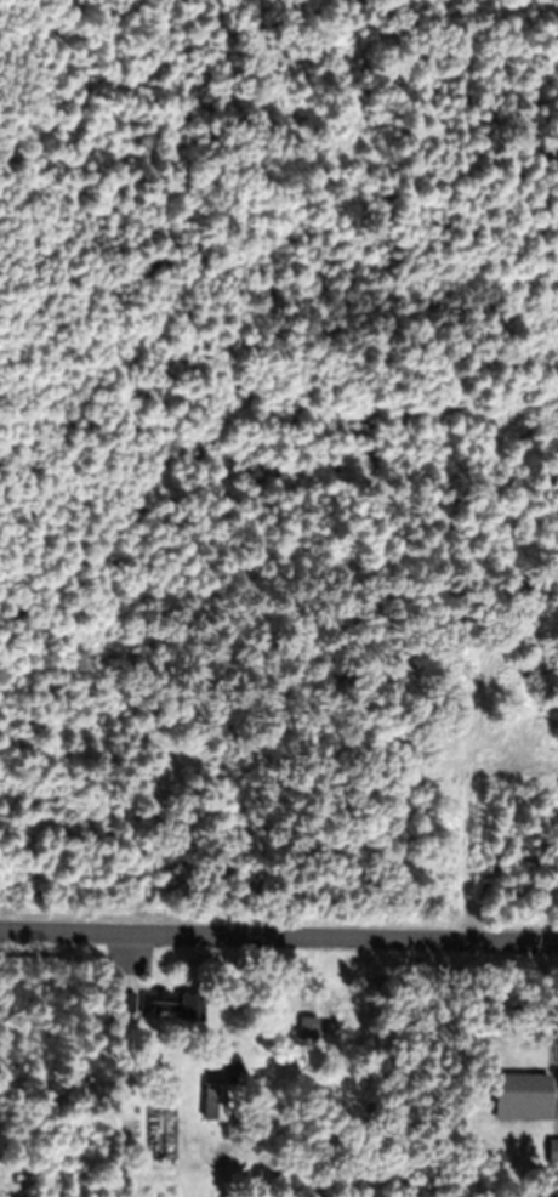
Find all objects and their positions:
road: (279, 924)
building: (126, 1003)
building: (176, 1006)
building: (309, 1029)
building: (522, 1088)
building: (217, 1104)
building: (553, 1153)

